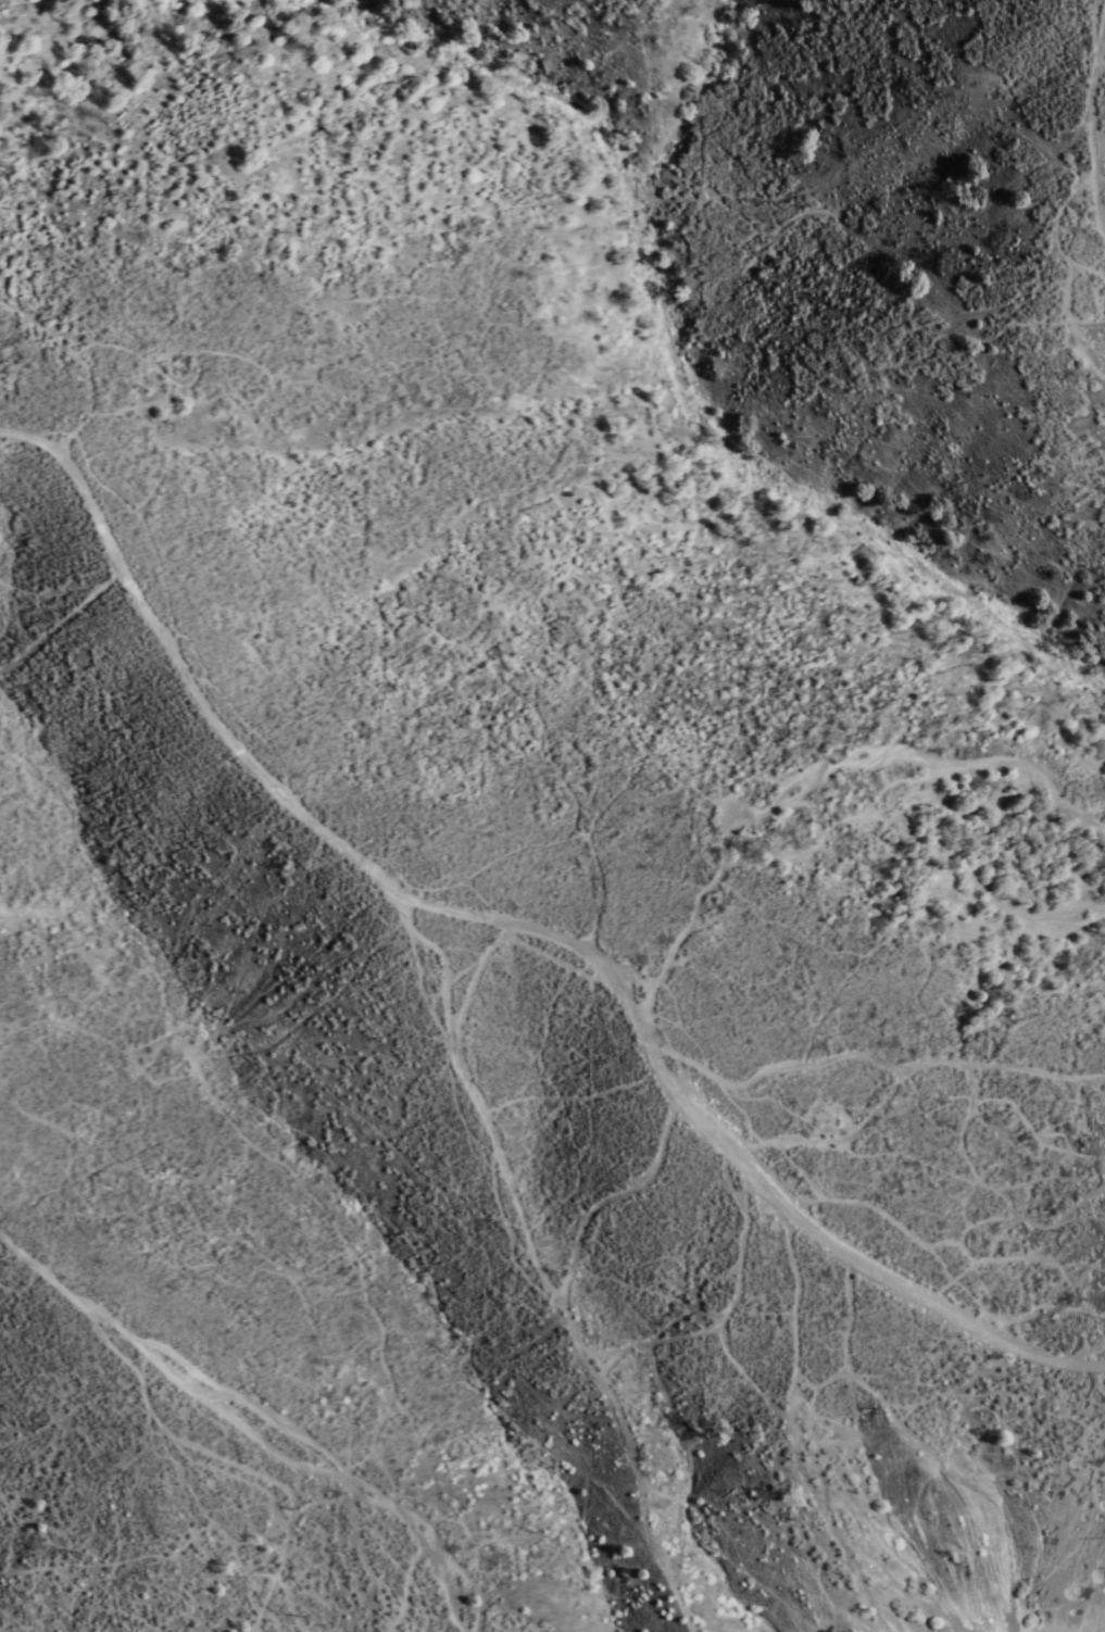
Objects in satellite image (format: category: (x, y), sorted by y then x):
road: (1091, 117)
road: (180, 673)
road: (818, 781)
road: (908, 1075)
road: (728, 1147)
road: (528, 1263)
road: (253, 1404)

